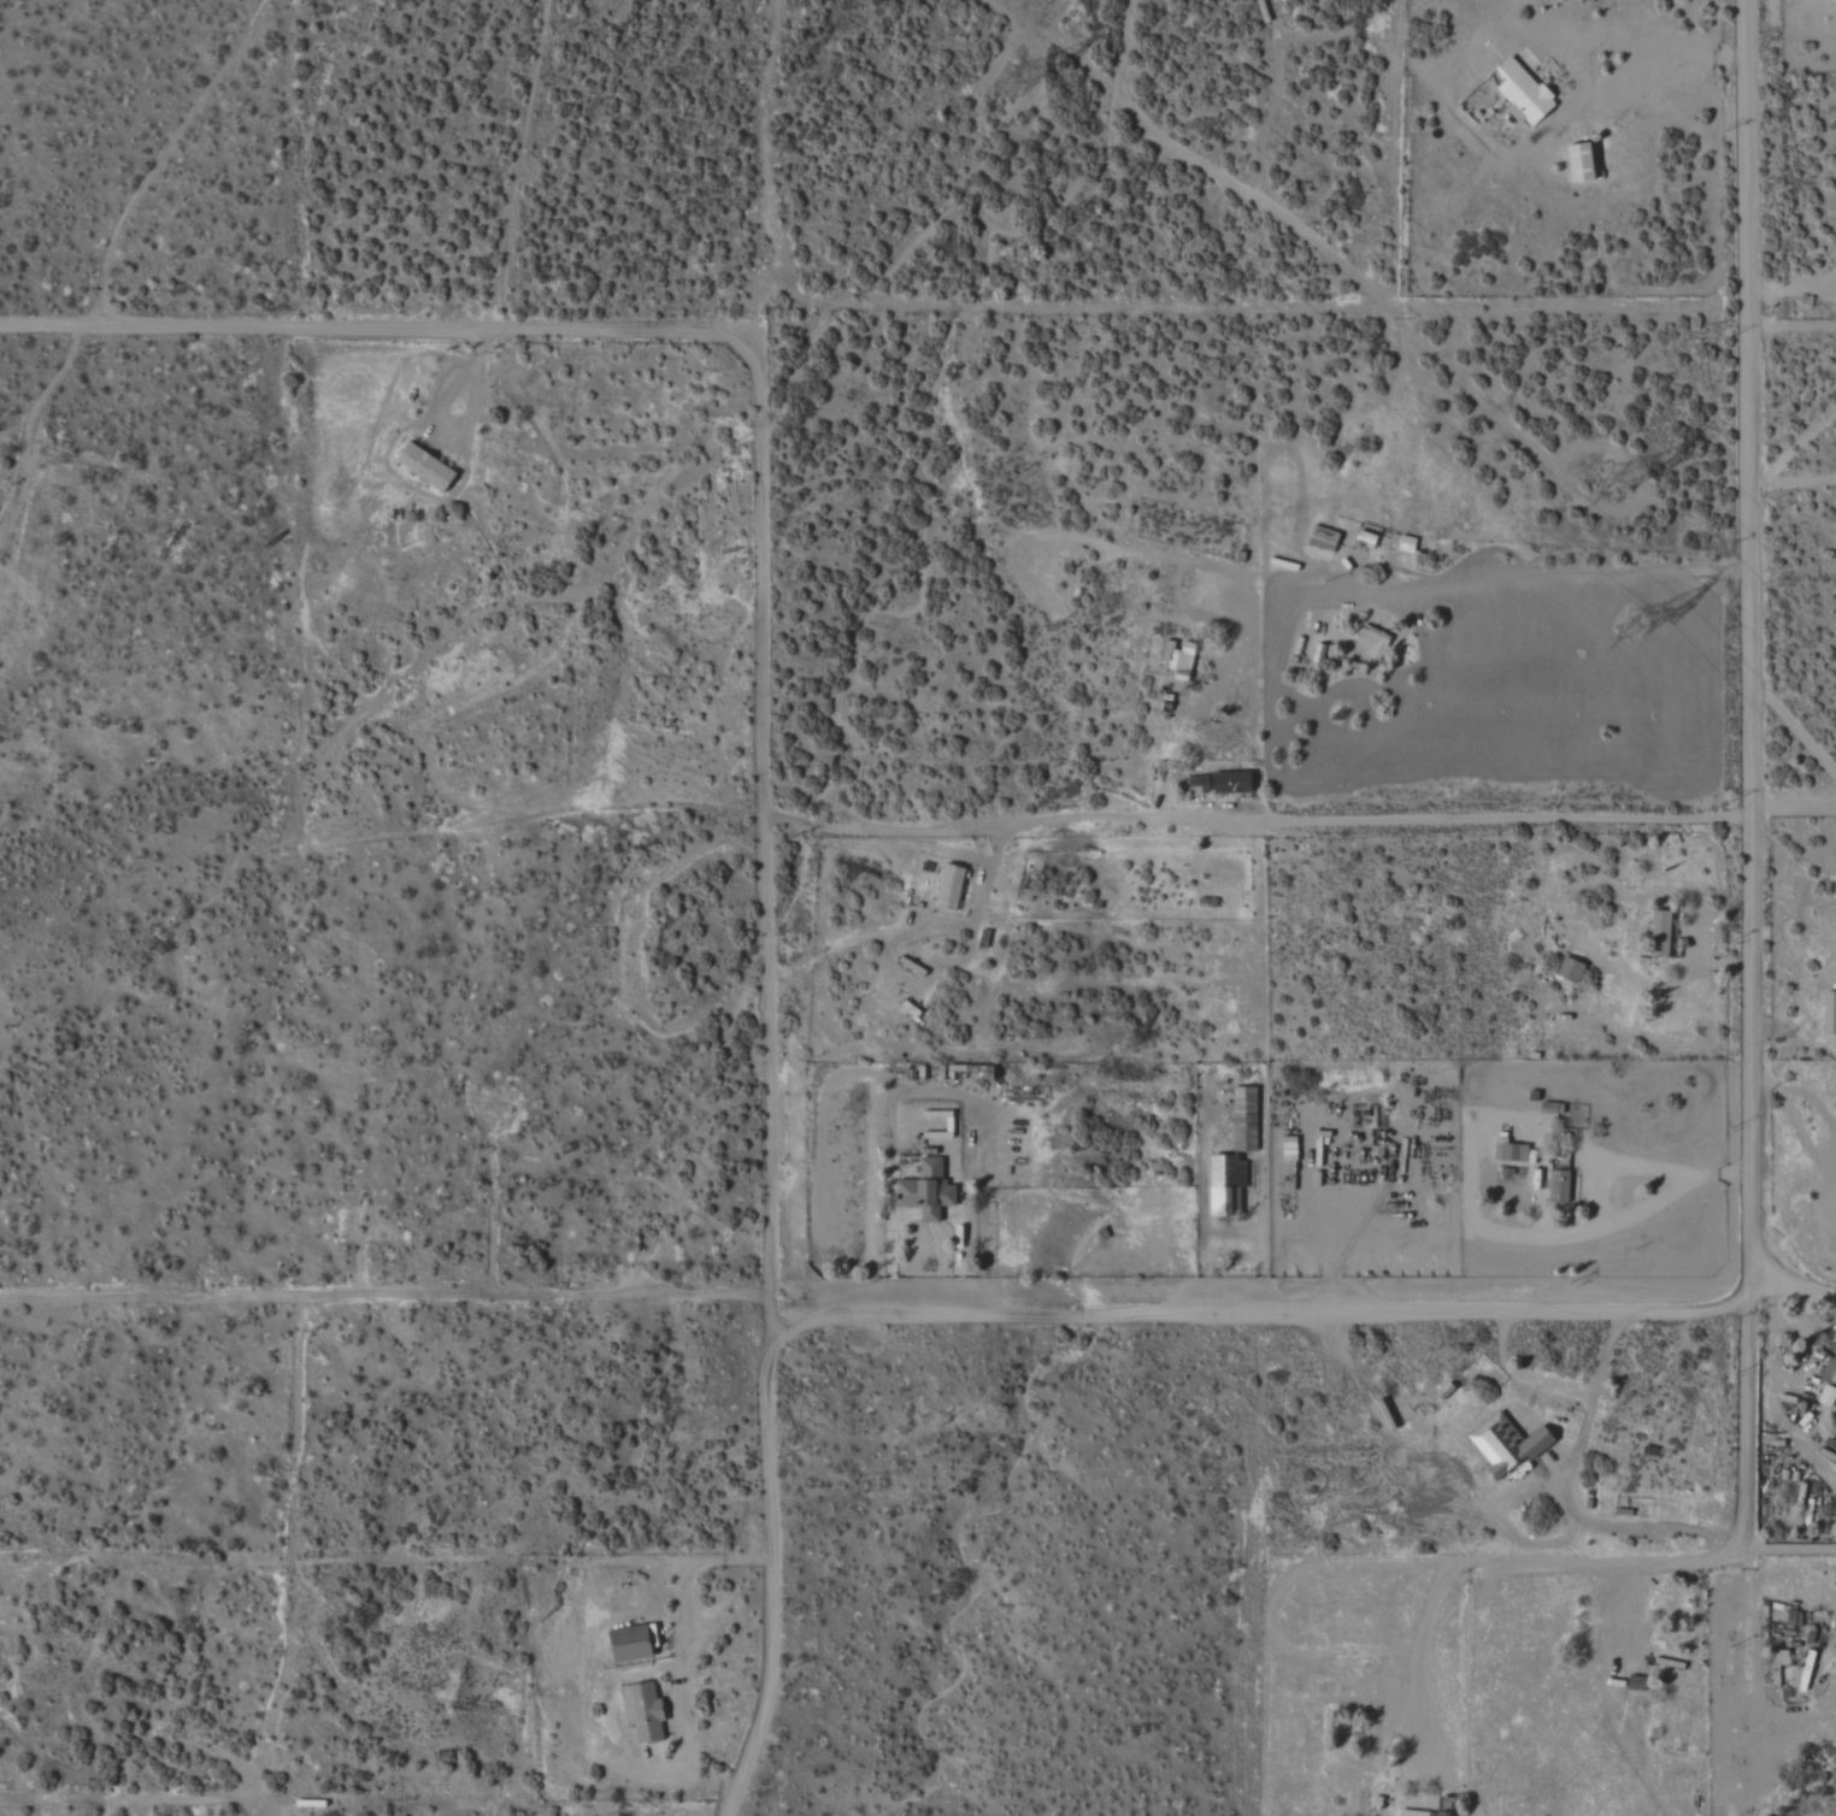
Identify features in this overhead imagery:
road: (1620, 55)
power tower: (1012, 89)
building: (1523, 93)
building: (1581, 164)
road: (1284, 218)
road: (1790, 288)
road: (866, 301)
road: (469, 381)
building: (424, 467)
road: (1791, 468)
power tower: (1612, 478)
road: (1640, 490)
road: (1561, 580)
power tower: (1634, 633)
building: (1373, 641)
building: (1178, 654)
road: (1791, 724)
building: (1231, 782)
building: (1197, 785)
road: (1749, 796)
road: (767, 816)
road: (1295, 824)
building: (949, 886)
road: (912, 918)
building: (1660, 933)
building: (1570, 969)
building: (1830, 1013)
building: (1244, 1119)
building: (1511, 1151)
road: (1607, 1171)
building: (1558, 1187)
building: (926, 1190)
road: (390, 1291)
road: (1307, 1304)
building: (1831, 1369)
building: (1828, 1396)
building: (1507, 1446)
road: (1795, 1549)
road: (1525, 1564)
road: (772, 1566)
road: (1279, 1590)
road: (676, 1638)
building: (629, 1644)
building: (1802, 1674)
building: (643, 1712)
building: (1423, 1814)

